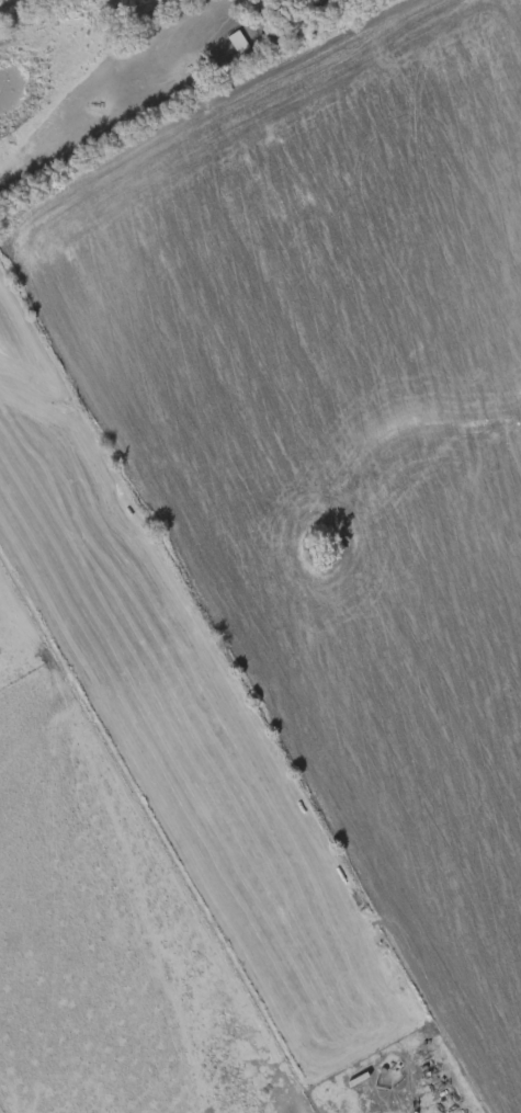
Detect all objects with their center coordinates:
building: (238, 41)

